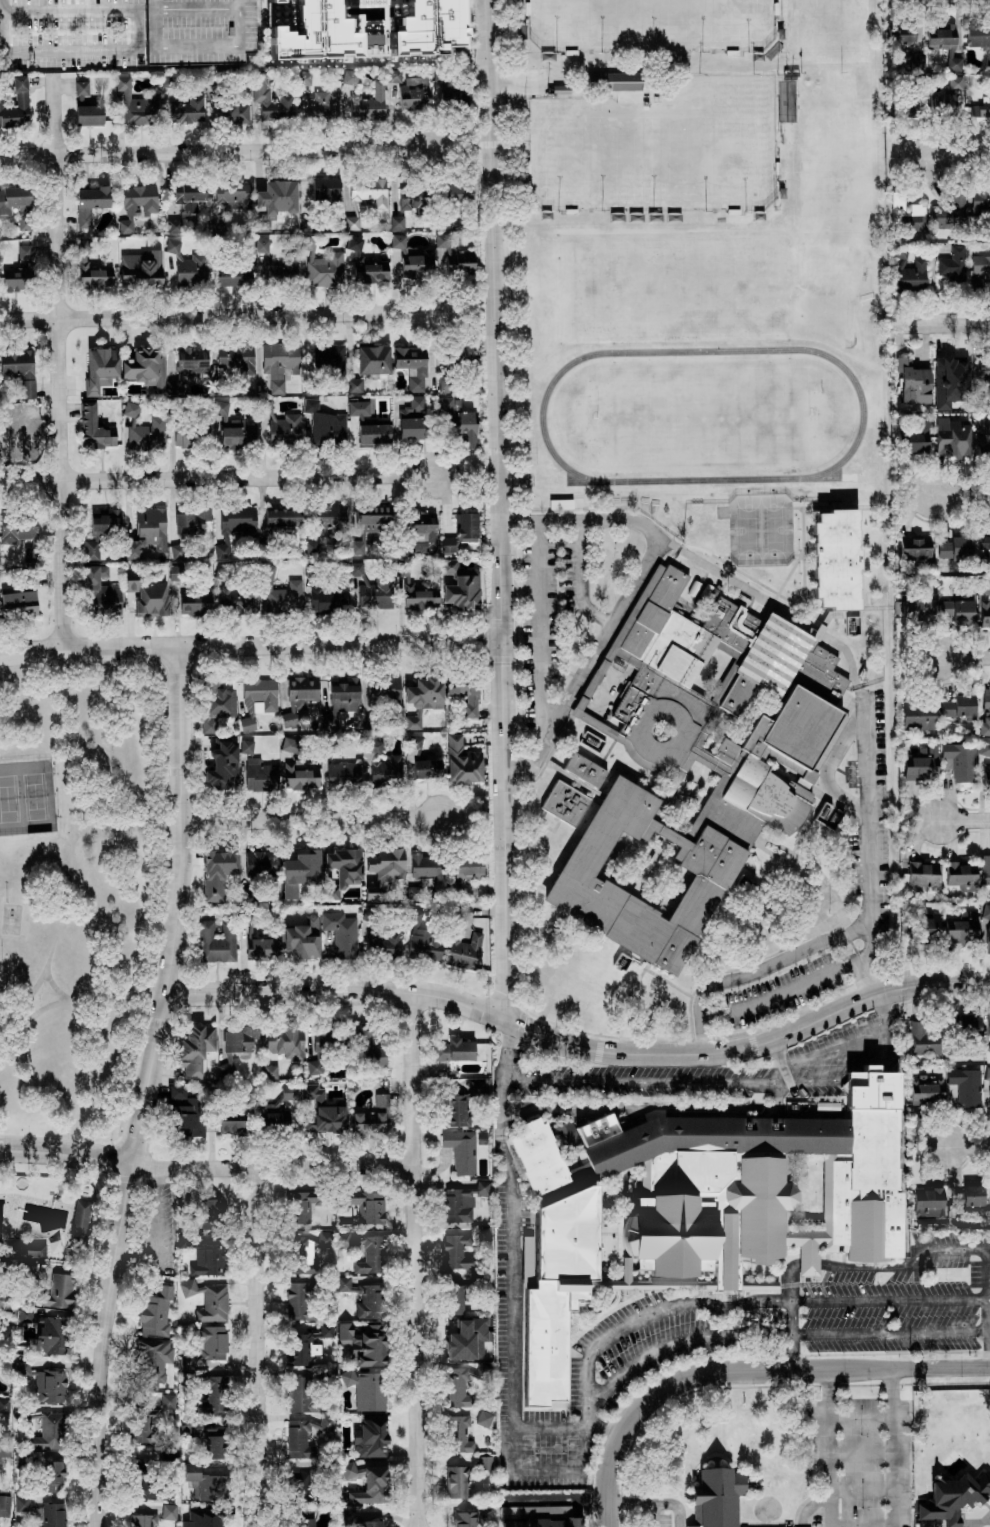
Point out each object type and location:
building: (276, 0)
road: (2, 4)
road: (139, 7)
building: (423, 23)
park: (586, 24)
park: (707, 25)
building: (314, 28)
building: (198, 31)
building: (902, 35)
building: (942, 35)
building: (978, 35)
road: (134, 50)
road: (139, 50)
building: (988, 61)
building: (954, 63)
building: (394, 76)
building: (441, 76)
building: (350, 77)
road: (516, 81)
building: (614, 81)
building: (956, 82)
building: (414, 93)
building: (272, 102)
building: (16, 103)
building: (134, 104)
building: (369, 104)
building: (945, 104)
building: (322, 105)
building: (86, 106)
building: (911, 106)
building: (183, 109)
building: (229, 109)
building: (980, 116)
park: (710, 145)
road: (217, 150)
park: (583, 154)
road: (958, 158)
building: (326, 189)
building: (369, 190)
building: (459, 191)
building: (233, 194)
building: (189, 196)
building: (18, 197)
building: (411, 198)
building: (140, 200)
building: (90, 203)
building: (980, 203)
building: (4, 207)
building: (949, 211)
building: (913, 218)
building: (397, 222)
building: (25, 223)
building: (352, 223)
building: (126, 226)
building: (174, 226)
building: (398, 241)
building: (444, 241)
building: (173, 246)
building: (460, 262)
building: (952, 263)
building: (366, 264)
building: (417, 264)
building: (321, 265)
building: (91, 269)
building: (192, 269)
building: (141, 270)
building: (20, 271)
building: (980, 271)
building: (910, 274)
building: (230, 276)
road: (217, 316)
road: (940, 324)
building: (235, 355)
building: (458, 355)
building: (330, 358)
building: (373, 359)
road: (56, 361)
building: (193, 361)
building: (280, 364)
building: (144, 367)
building: (412, 367)
building: (18, 368)
building: (100, 369)
building: (983, 375)
building: (949, 382)
building: (914, 383)
building: (175, 384)
building: (445, 384)
building: (448, 407)
building: (363, 408)
track: (543, 415)
building: (412, 418)
building: (982, 423)
building: (282, 425)
building: (95, 429)
building: (144, 430)
building: (467, 430)
building: (235, 431)
building: (328, 432)
building: (188, 434)
building: (374, 434)
building: (952, 437)
building: (15, 442)
building: (914, 442)
building: (984, 448)
road: (219, 478)
road: (961, 495)
road: (499, 509)
building: (283, 517)
building: (370, 525)
building: (234, 526)
building: (326, 527)
building: (467, 527)
park: (748, 529)
park: (762, 529)
park: (775, 529)
building: (17, 530)
building: (101, 530)
building: (148, 532)
building: (187, 532)
building: (985, 539)
building: (448, 544)
building: (915, 548)
building: (956, 549)
building: (29, 553)
building: (449, 566)
building: (176, 572)
road: (583, 580)
building: (984, 586)
building: (372, 589)
building: (100, 590)
building: (464, 590)
road: (633, 594)
building: (149, 597)
building: (286, 597)
building: (327, 597)
building: (418, 598)
building: (18, 602)
road: (771, 602)
building: (195, 603)
building: (963, 607)
building: (917, 609)
building: (984, 613)
road: (542, 623)
building: (853, 625)
road: (251, 646)
road: (963, 657)
road: (90, 663)
building: (384, 690)
building: (302, 691)
building: (466, 693)
building: (343, 694)
building: (422, 698)
building: (257, 700)
building: (218, 706)
building: (959, 706)
building: (985, 713)
building: (919, 715)
building: (289, 719)
building: (593, 741)
building: (290, 744)
building: (247, 746)
building: (374, 746)
building: (984, 748)
building: (705, 749)
building: (421, 760)
building: (463, 761)
building: (960, 761)
building: (922, 764)
building: (223, 765)
road: (830, 767)
building: (387, 770)
building: (343, 773)
building: (986, 774)
building: (260, 775)
building: (300, 775)
park: (27, 798)
road: (869, 809)
road: (311, 817)
road: (965, 818)
road: (182, 820)
road: (123, 823)
road: (72, 854)
road: (791, 860)
building: (260, 861)
building: (345, 866)
building: (469, 867)
building: (429, 869)
building: (986, 869)
building: (300, 871)
building: (384, 872)
building: (217, 873)
building: (923, 874)
building: (961, 875)
building: (331, 888)
park: (86, 890)
road: (838, 905)
building: (986, 911)
road: (815, 920)
road: (825, 925)
building: (962, 931)
building: (342, 933)
building: (256, 940)
building: (301, 940)
building: (988, 940)
building: (423, 941)
building: (217, 942)
building: (382, 942)
road: (861, 959)
road: (758, 971)
road: (929, 985)
road: (780, 994)
road: (74, 1002)
road: (885, 1011)
building: (971, 1023)
building: (988, 1024)
road: (523, 1026)
building: (240, 1039)
building: (922, 1039)
building: (286, 1042)
road: (836, 1047)
building: (320, 1048)
building: (195, 1049)
building: (454, 1050)
road: (886, 1051)
building: (987, 1054)
building: (227, 1069)
building: (270, 1071)
road: (861, 1074)
road: (666, 1081)
road: (815, 1081)
building: (477, 1088)
building: (965, 1088)
building: (925, 1090)
building: (289, 1092)
building: (989, 1097)
building: (381, 1100)
building: (456, 1110)
building: (322, 1112)
building: (271, 1118)
building: (368, 1123)
building: (231, 1127)
road: (968, 1144)
building: (461, 1151)
road: (65, 1153)
road: (273, 1166)
building: (972, 1196)
building: (463, 1202)
building: (928, 1202)
building: (368, 1205)
building: (299, 1206)
building: (213, 1215)
building: (80, 1219)
building: (677, 1223)
building: (325, 1239)
building: (527, 1250)
building: (458, 1251)
road: (115, 1257)
building: (305, 1258)
building: (208, 1259)
road: (416, 1259)
road: (914, 1261)
road: (811, 1265)
building: (28, 1268)
road: (510, 1277)
road: (794, 1281)
building: (364, 1298)
building: (297, 1299)
building: (454, 1299)
building: (209, 1300)
road: (892, 1302)
road: (663, 1310)
building: (156, 1312)
building: (25, 1314)
road: (989, 1316)
road: (792, 1318)
building: (327, 1330)
road: (989, 1332)
road: (794, 1333)
road: (894, 1333)
building: (54, 1336)
building: (467, 1339)
building: (364, 1343)
road: (682, 1343)
building: (207, 1347)
road: (259, 1347)
road: (790, 1351)
building: (153, 1361)
road: (819, 1370)
building: (484, 1371)
building: (45, 1383)
building: (458, 1387)
building: (366, 1389)
building: (302, 1395)
building: (215, 1396)
building: (4, 1405)
road: (596, 1413)
building: (484, 1418)
building: (48, 1430)
building: (459, 1434)
building: (304, 1435)
building: (370, 1438)
building: (216, 1443)
road: (896, 1447)
road: (827, 1448)
building: (4, 1449)
road: (616, 1454)
parking lot: (860, 1456)
building: (485, 1462)
road: (555, 1473)
building: (53, 1475)
building: (457, 1481)
building: (152, 1484)
building: (208, 1484)
building: (371, 1486)
building: (723, 1494)
road: (558, 1498)
building: (952, 1498)
road: (624, 1499)
building: (22, 1503)
building: (4, 1505)
building: (169, 1511)
building: (534, 1511)
building: (187, 1512)
building: (348, 1512)
parking lot: (664, 1512)
building: (52, 1514)
building: (464, 1519)
building: (145, 1520)
building: (559, 1522)
building: (201, 1523)
building: (308, 1524)

